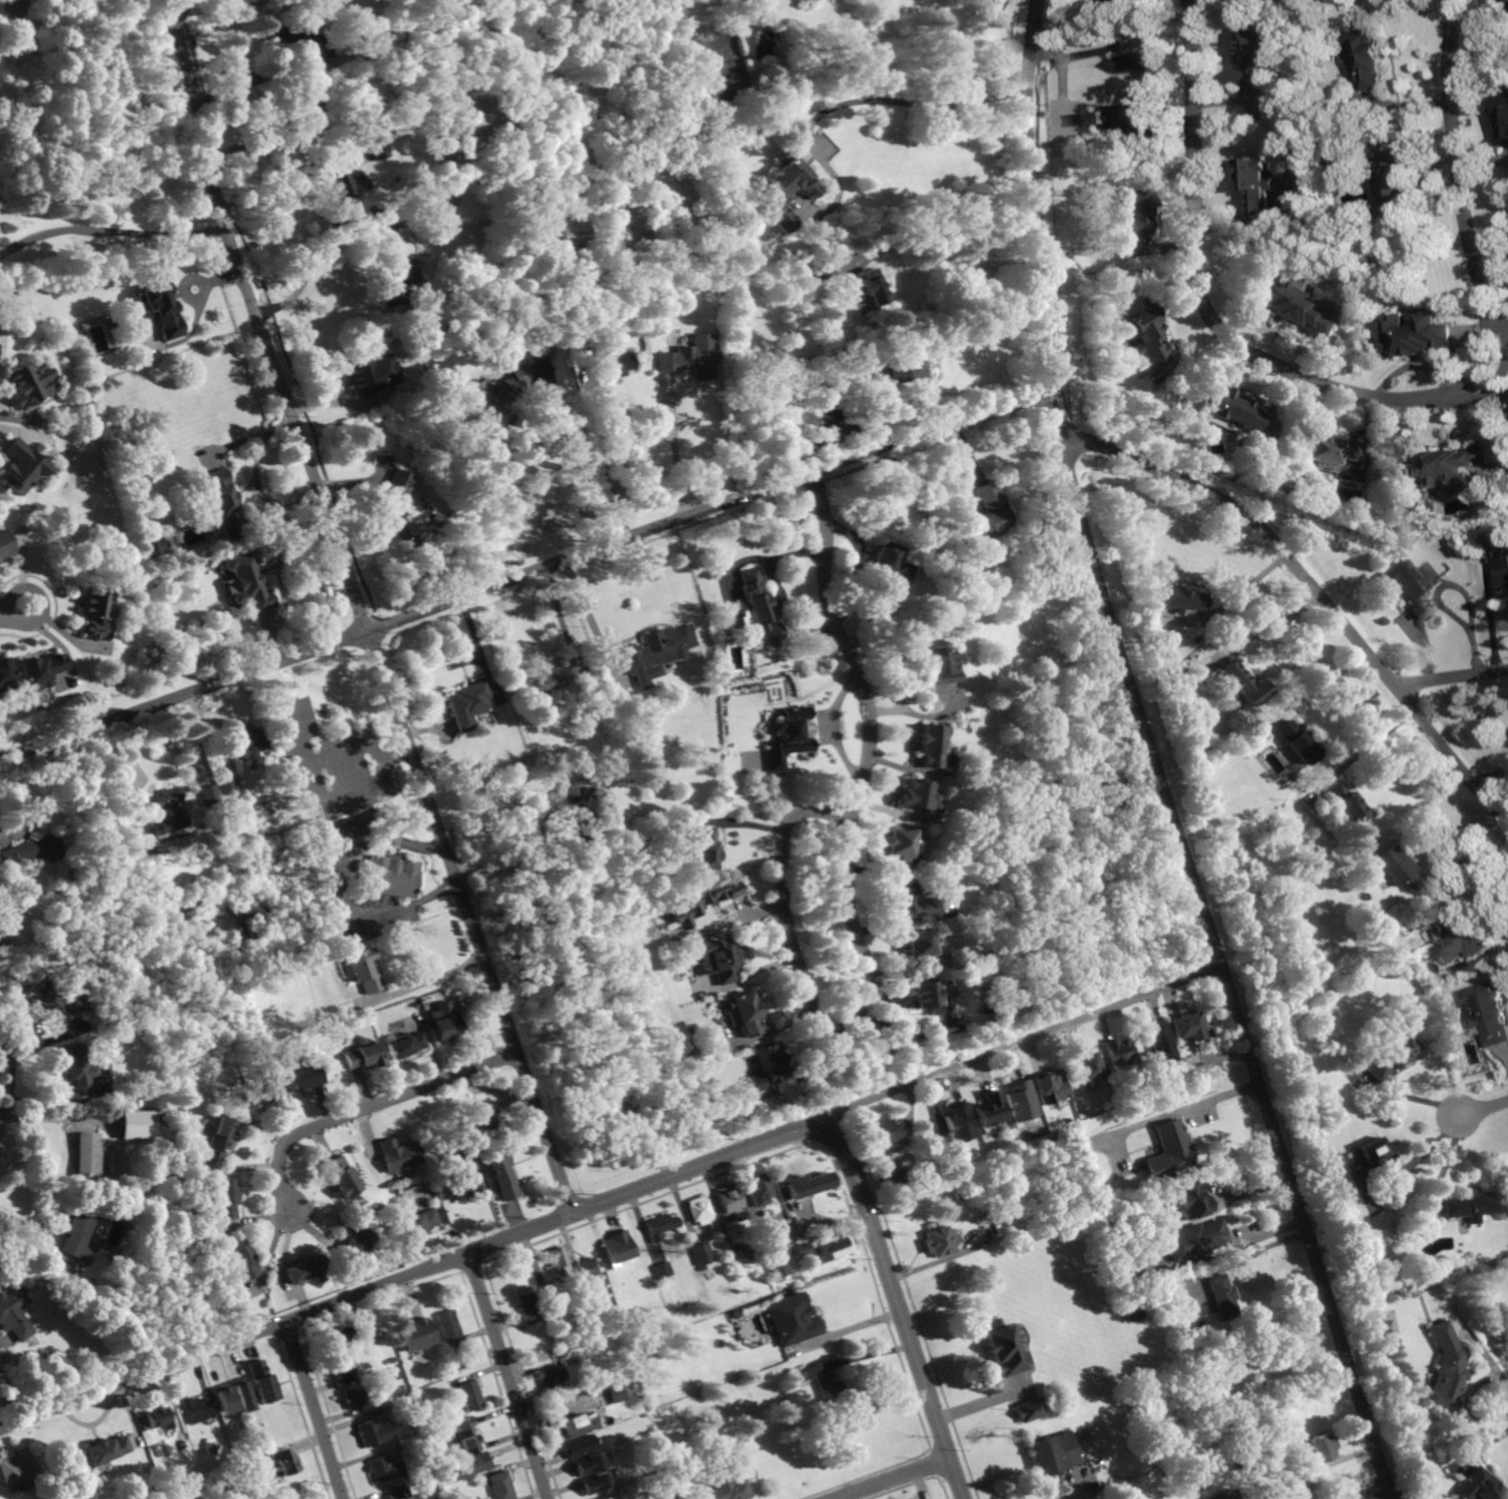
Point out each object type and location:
building: (299, 39)
building: (1256, 57)
building: (1371, 57)
building: (1135, 61)
park: (724, 62)
road: (1060, 66)
road: (904, 102)
building: (314, 111)
building: (1135, 114)
building: (1504, 115)
building: (370, 122)
building: (377, 149)
road: (330, 151)
building: (1341, 162)
building: (343, 180)
building: (1395, 181)
building: (1258, 183)
building: (785, 188)
building: (390, 205)
building: (1135, 211)
building: (568, 224)
road: (111, 232)
building: (558, 242)
road: (944, 255)
road: (311, 265)
building: (821, 270)
building: (393, 271)
building: (869, 289)
building: (1291, 306)
building: (159, 309)
road: (1501, 327)
building: (1144, 333)
building: (1419, 334)
building: (538, 350)
building: (605, 357)
building: (688, 359)
building: (904, 366)
building: (372, 373)
building: (31, 384)
building: (497, 390)
building: (828, 394)
road: (1374, 395)
building: (1235, 410)
road: (555, 415)
road: (855, 424)
building: (1327, 451)
road: (670, 454)
building: (1455, 464)
building: (21, 467)
road: (609, 476)
building: (223, 503)
building: (994, 505)
road: (707, 507)
building: (402, 508)
building: (435, 521)
building: (4, 544)
building: (153, 549)
building: (883, 567)
building: (1503, 579)
road: (282, 580)
building: (248, 582)
road: (1311, 585)
building: (1409, 585)
road: (1246, 586)
road: (775, 591)
building: (1182, 599)
road: (584, 605)
road: (361, 608)
road: (14, 609)
building: (759, 609)
building: (96, 612)
road: (1276, 626)
building: (656, 652)
building: (936, 662)
building: (40, 671)
building: (5, 676)
road: (1451, 676)
road: (1319, 682)
building: (542, 683)
building: (1243, 685)
road: (184, 695)
building: (468, 704)
building: (740, 731)
building: (611, 733)
building: (788, 738)
building: (1297, 742)
building: (245, 743)
road: (1370, 743)
building: (929, 744)
road: (397, 755)
road: (1156, 759)
road: (315, 782)
building: (228, 789)
building: (916, 794)
building: (211, 798)
road: (1424, 802)
building: (1347, 803)
building: (592, 806)
building: (167, 812)
road: (576, 846)
building: (896, 847)
building: (705, 848)
building: (34, 850)
building: (278, 863)
building: (1399, 867)
road: (126, 869)
road: (1463, 872)
building: (392, 876)
building: (703, 899)
road: (851, 899)
building: (909, 900)
building: (247, 924)
building: (1408, 929)
building: (1461, 937)
building: (920, 947)
building: (720, 959)
building: (363, 970)
road: (425, 980)
building: (1, 983)
building: (932, 998)
building: (51, 1002)
building: (1487, 1012)
building: (743, 1014)
building: (130, 1017)
building: (446, 1022)
building: (1190, 1026)
road: (1024, 1041)
building: (404, 1044)
building: (1164, 1044)
building: (1120, 1050)
building: (1391, 1054)
building: (363, 1055)
building: (1089, 1065)
building: (1194, 1065)
building: (768, 1068)
building: (79, 1069)
building: (298, 1077)
building: (1048, 1086)
building: (255, 1094)
road: (1205, 1099)
building: (1019, 1100)
road: (369, 1106)
road: (1484, 1108)
building: (989, 1110)
building: (161, 1118)
building: (483, 1118)
building: (136, 1123)
building: (959, 1123)
building: (882, 1133)
building: (218, 1140)
building: (1169, 1153)
building: (87, 1155)
building: (399, 1155)
building: (1370, 1162)
road: (700, 1165)
building: (503, 1173)
building: (889, 1173)
building: (341, 1176)
building: (461, 1177)
building: (1050, 1182)
building: (806, 1183)
building: (433, 1184)
building: (760, 1189)
building: (959, 1195)
building: (225, 1199)
building: (1190, 1199)
building: (731, 1203)
building: (1035, 1204)
building: (1473, 1205)
building: (700, 1210)
building: (983, 1212)
building: (1042, 1217)
road: (16, 1218)
building: (978, 1221)
building: (417, 1223)
building: (661, 1226)
building: (1136, 1235)
building: (354, 1237)
building: (76, 1238)
building: (1194, 1240)
building: (940, 1241)
building: (618, 1247)
building: (832, 1248)
building: (1141, 1248)
building: (752, 1249)
building: (804, 1249)
road: (1261, 1249)
building: (774, 1253)
building: (702, 1255)
building: (242, 1258)
road: (932, 1261)
building: (558, 1262)
building: (306, 1270)
building: (588, 1271)
building: (664, 1273)
building: (548, 1296)
building: (1221, 1297)
building: (527, 1303)
road: (894, 1307)
building: (1131, 1308)
building: (14, 1312)
building: (792, 1319)
road: (287, 1320)
building: (1198, 1322)
building: (448, 1325)
building: (364, 1327)
road: (845, 1330)
building: (417, 1335)
building: (341, 1337)
building: (1004, 1348)
building: (450, 1350)
building: (390, 1361)
building: (343, 1366)
building: (1448, 1367)
building: (64, 1375)
road: (509, 1375)
building: (395, 1376)
building: (553, 1378)
building: (629, 1379)
building: (261, 1381)
building: (821, 1382)
building: (617, 1393)
building: (469, 1395)
building: (243, 1396)
building: (353, 1397)
building: (224, 1399)
road: (980, 1400)
road: (314, 1410)
building: (1029, 1410)
building: (197, 1411)
building: (157, 1417)
building: (463, 1426)
building: (575, 1426)
building: (373, 1432)
building: (470, 1445)
building: (577, 1447)
building: (1322, 1448)
building: (161, 1449)
building: (209, 1449)
building: (106, 1451)
building: (1054, 1453)
building: (284, 1461)
building: (589, 1464)
building: (242, 1465)
building: (470, 1466)
building: (16, 1469)
building: (385, 1469)
road: (895, 1478)
building: (596, 1483)
building: (501, 1485)
building: (1481, 1486)
building: (1294, 1487)
building: (729, 1489)
building: (397, 1491)
building: (1223, 1494)
road: (1379, 1495)
building: (46, 1496)
building: (602, 1498)

